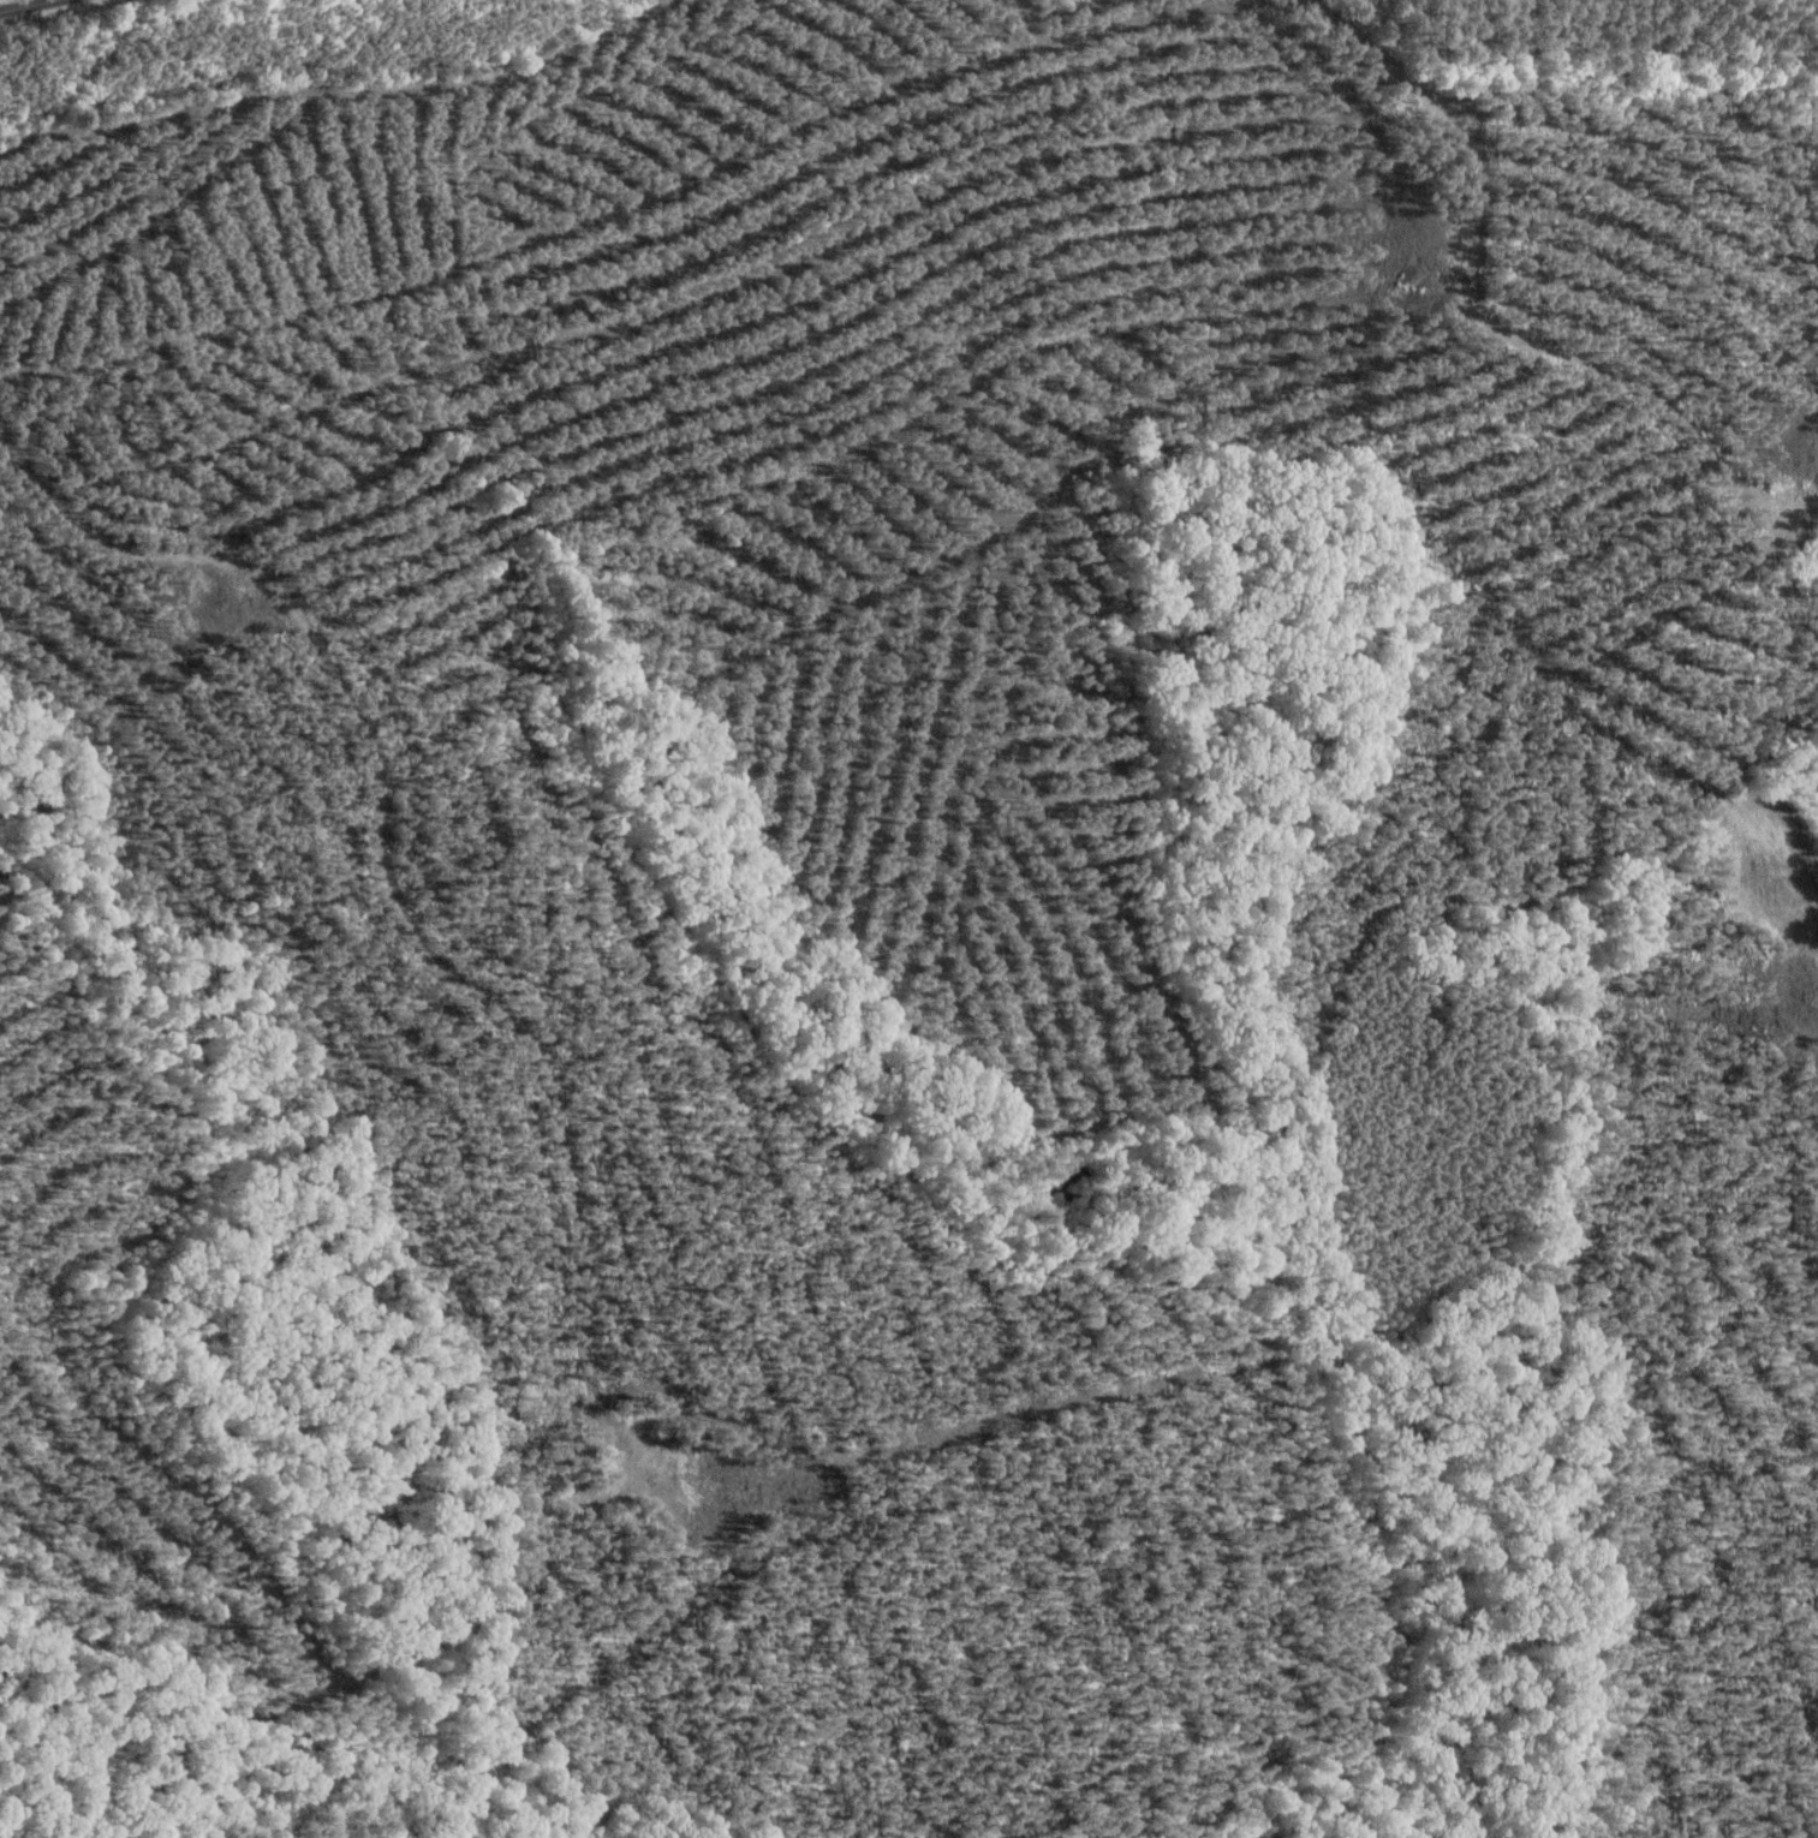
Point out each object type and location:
road: (38, 7)

